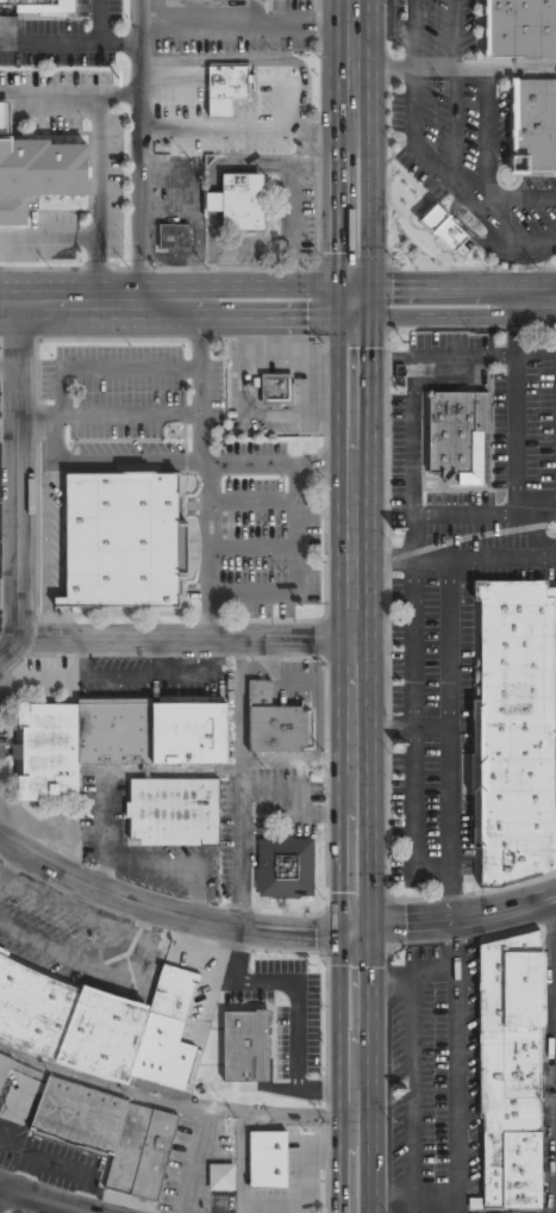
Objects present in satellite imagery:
building: (35, 6)
road: (151, 12)
road: (99, 21)
road: (230, 25)
building: (517, 30)
parking lot: (61, 35)
road: (50, 42)
road: (427, 69)
building: (227, 88)
road: (455, 92)
road: (119, 93)
building: (4, 117)
road: (252, 126)
building: (531, 127)
road: (487, 143)
road: (100, 148)
road: (369, 150)
road: (338, 151)
road: (427, 157)
road: (137, 173)
building: (38, 175)
road: (521, 199)
building: (239, 203)
building: (444, 229)
road: (50, 237)
building: (175, 237)
traffic signals: (371, 301)
road: (277, 303)
traffic signals: (339, 303)
road: (416, 386)
building: (276, 390)
road: (110, 418)
building: (452, 428)
road: (518, 446)
road: (206, 466)
parking lot: (195, 472)
road: (341, 472)
road: (373, 472)
road: (18, 485)
road: (469, 512)
building: (129, 542)
road: (204, 554)
road: (460, 556)
parking lot: (455, 560)
road: (186, 640)
building: (275, 723)
road: (404, 724)
road: (419, 727)
building: (520, 734)
road: (452, 739)
building: (113, 741)
building: (173, 813)
building: (286, 867)
road: (354, 927)
road: (269, 929)
traffic signals: (354, 932)
road: (555, 945)
road: (406, 982)
building: (100, 1025)
building: (246, 1047)
road: (456, 1066)
building: (5, 1069)
building: (513, 1072)
parking lot: (430, 1077)
road: (411, 1083)
building: (111, 1136)
building: (267, 1162)
building: (221, 1177)
road: (411, 1188)
road: (4, 1196)
road: (39, 1199)

